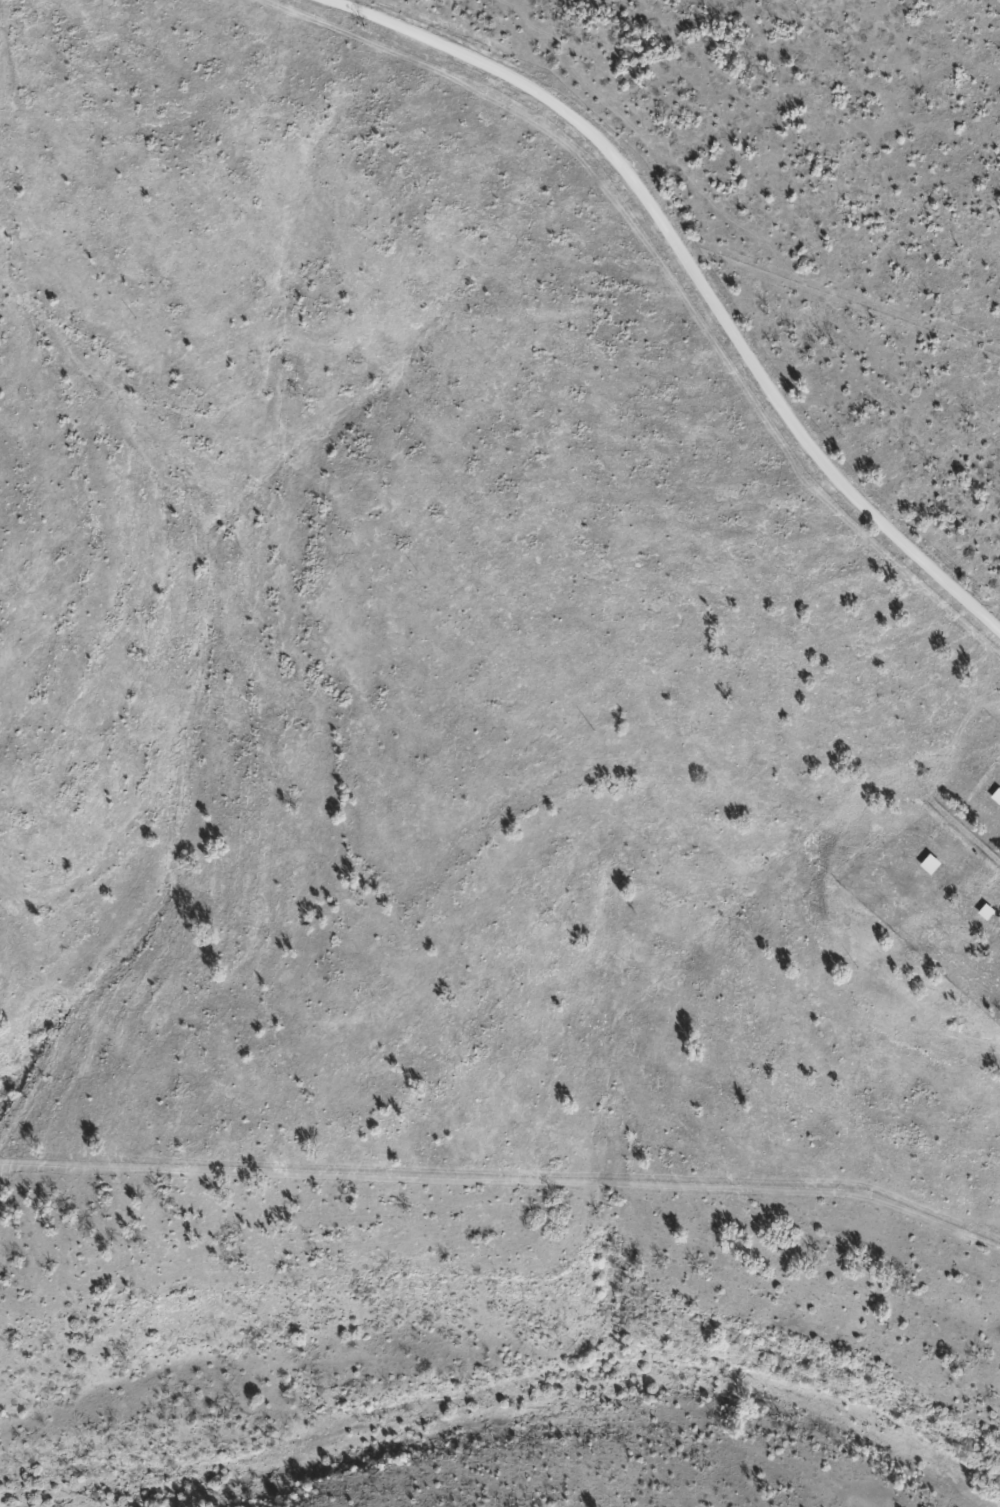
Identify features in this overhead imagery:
road: (693, 271)

